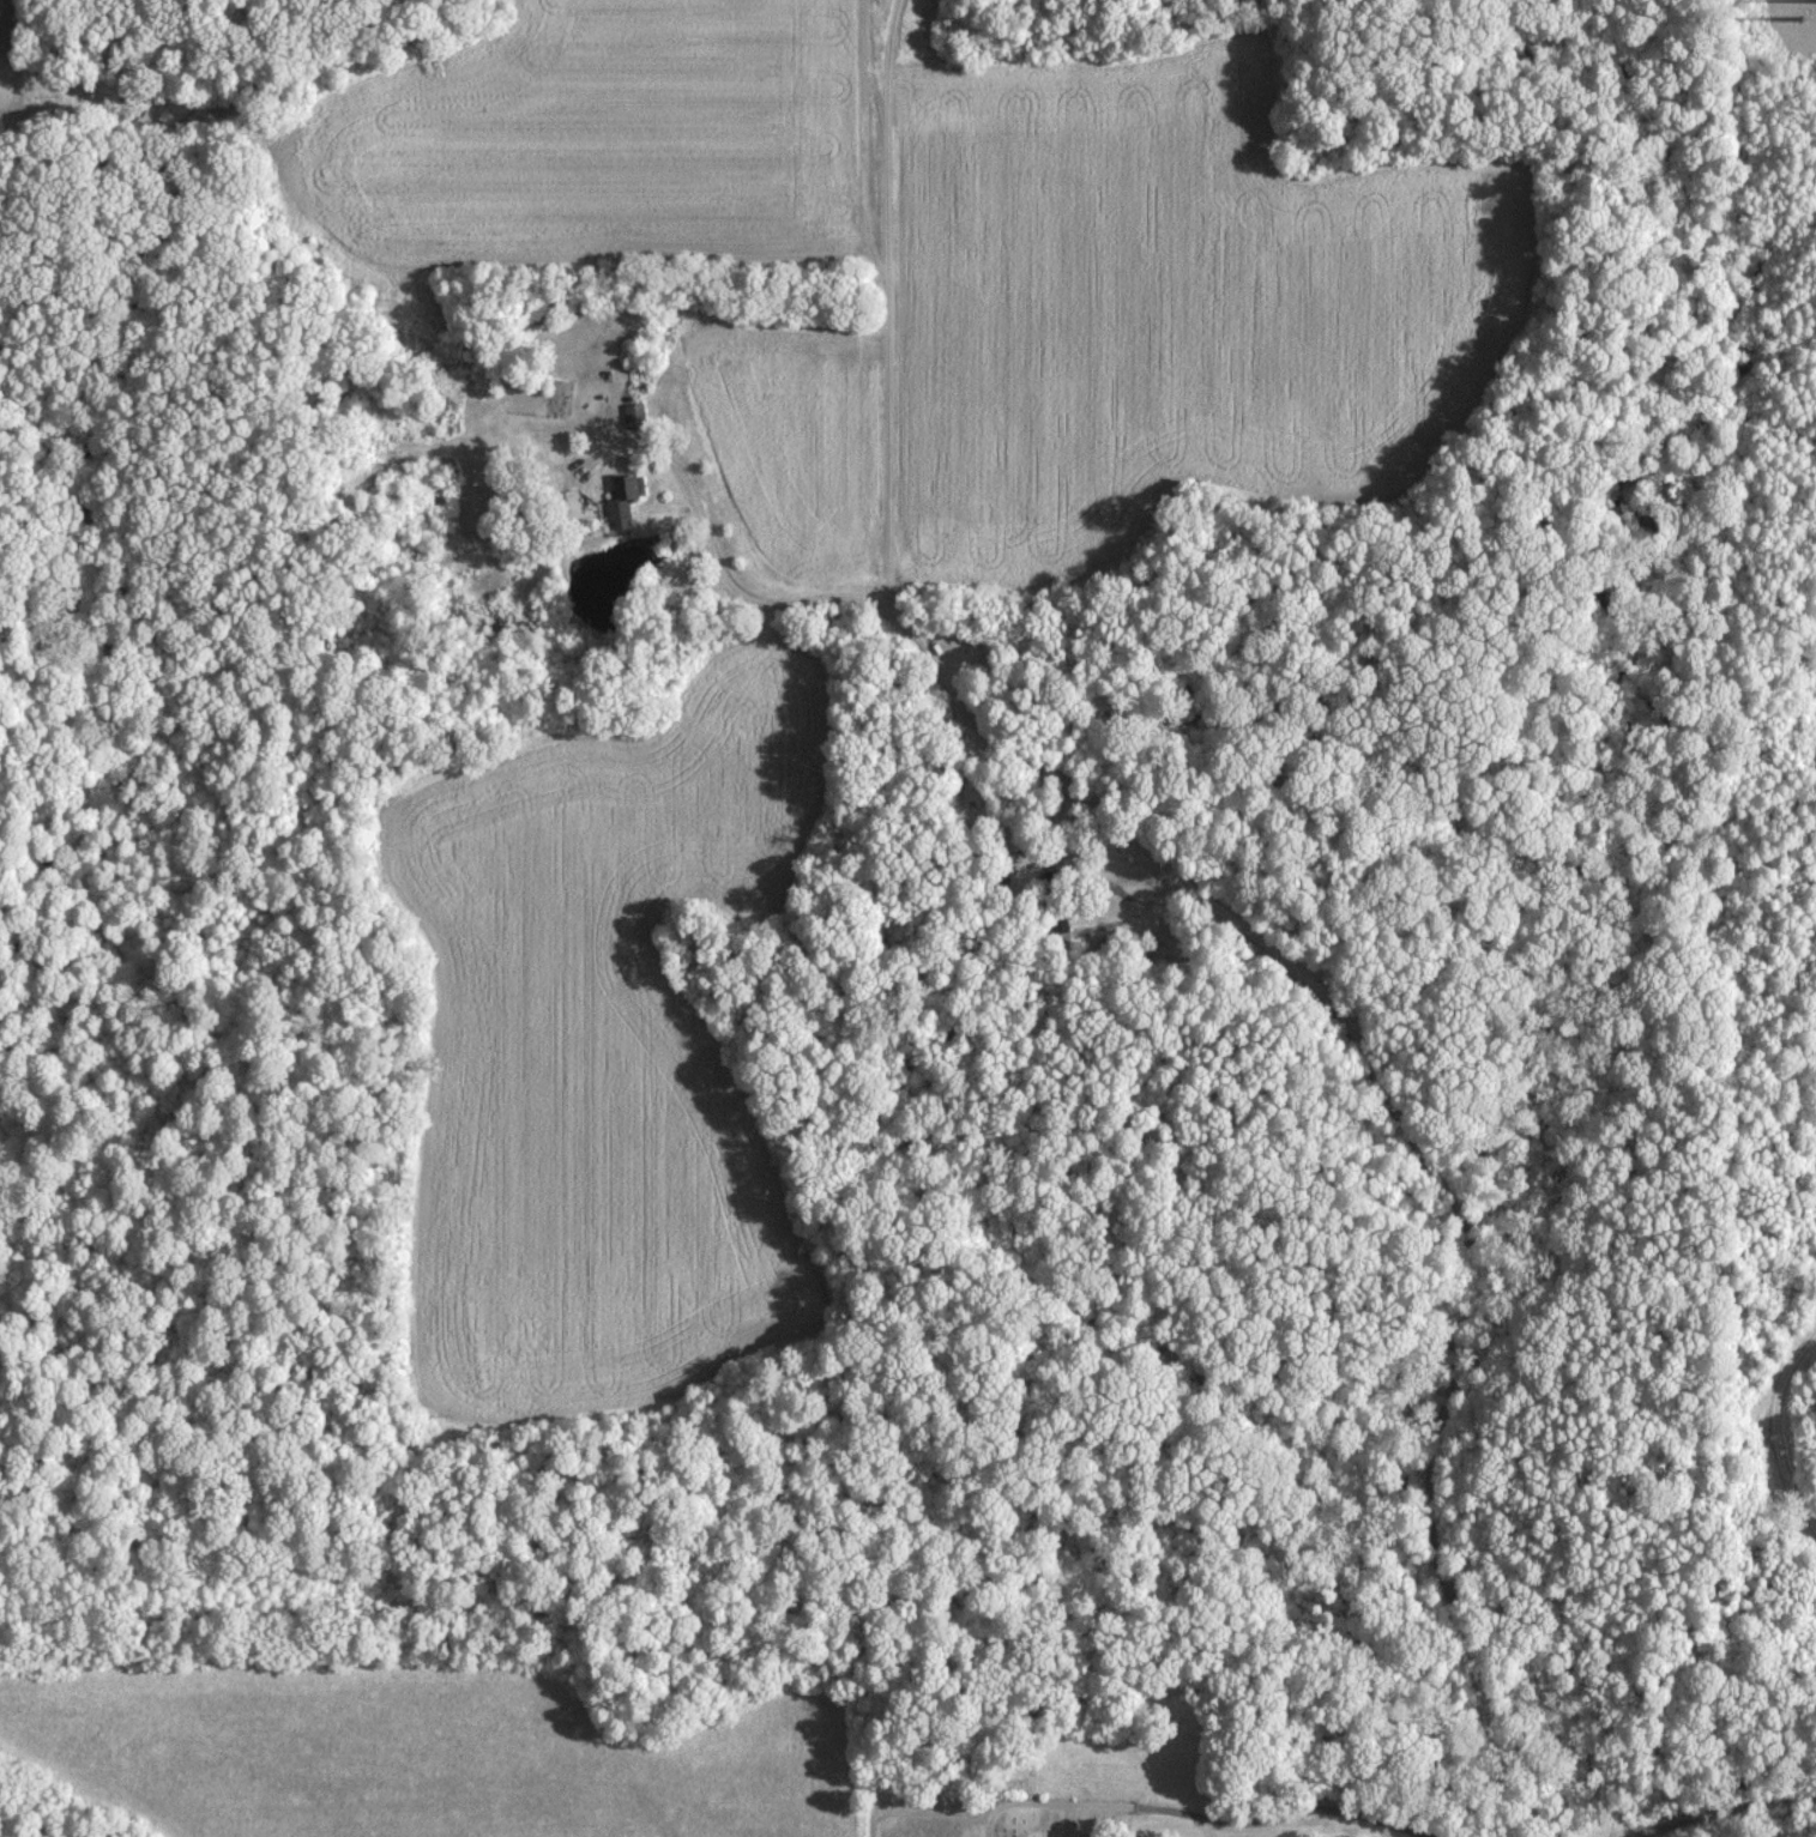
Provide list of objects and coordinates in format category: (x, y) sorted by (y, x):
road: (887, 306)
building: (627, 498)
road: (1344, 1015)
road: (1774, 1427)
road: (1040, 1826)
road: (1099, 1831)
road: (1212, 1831)

